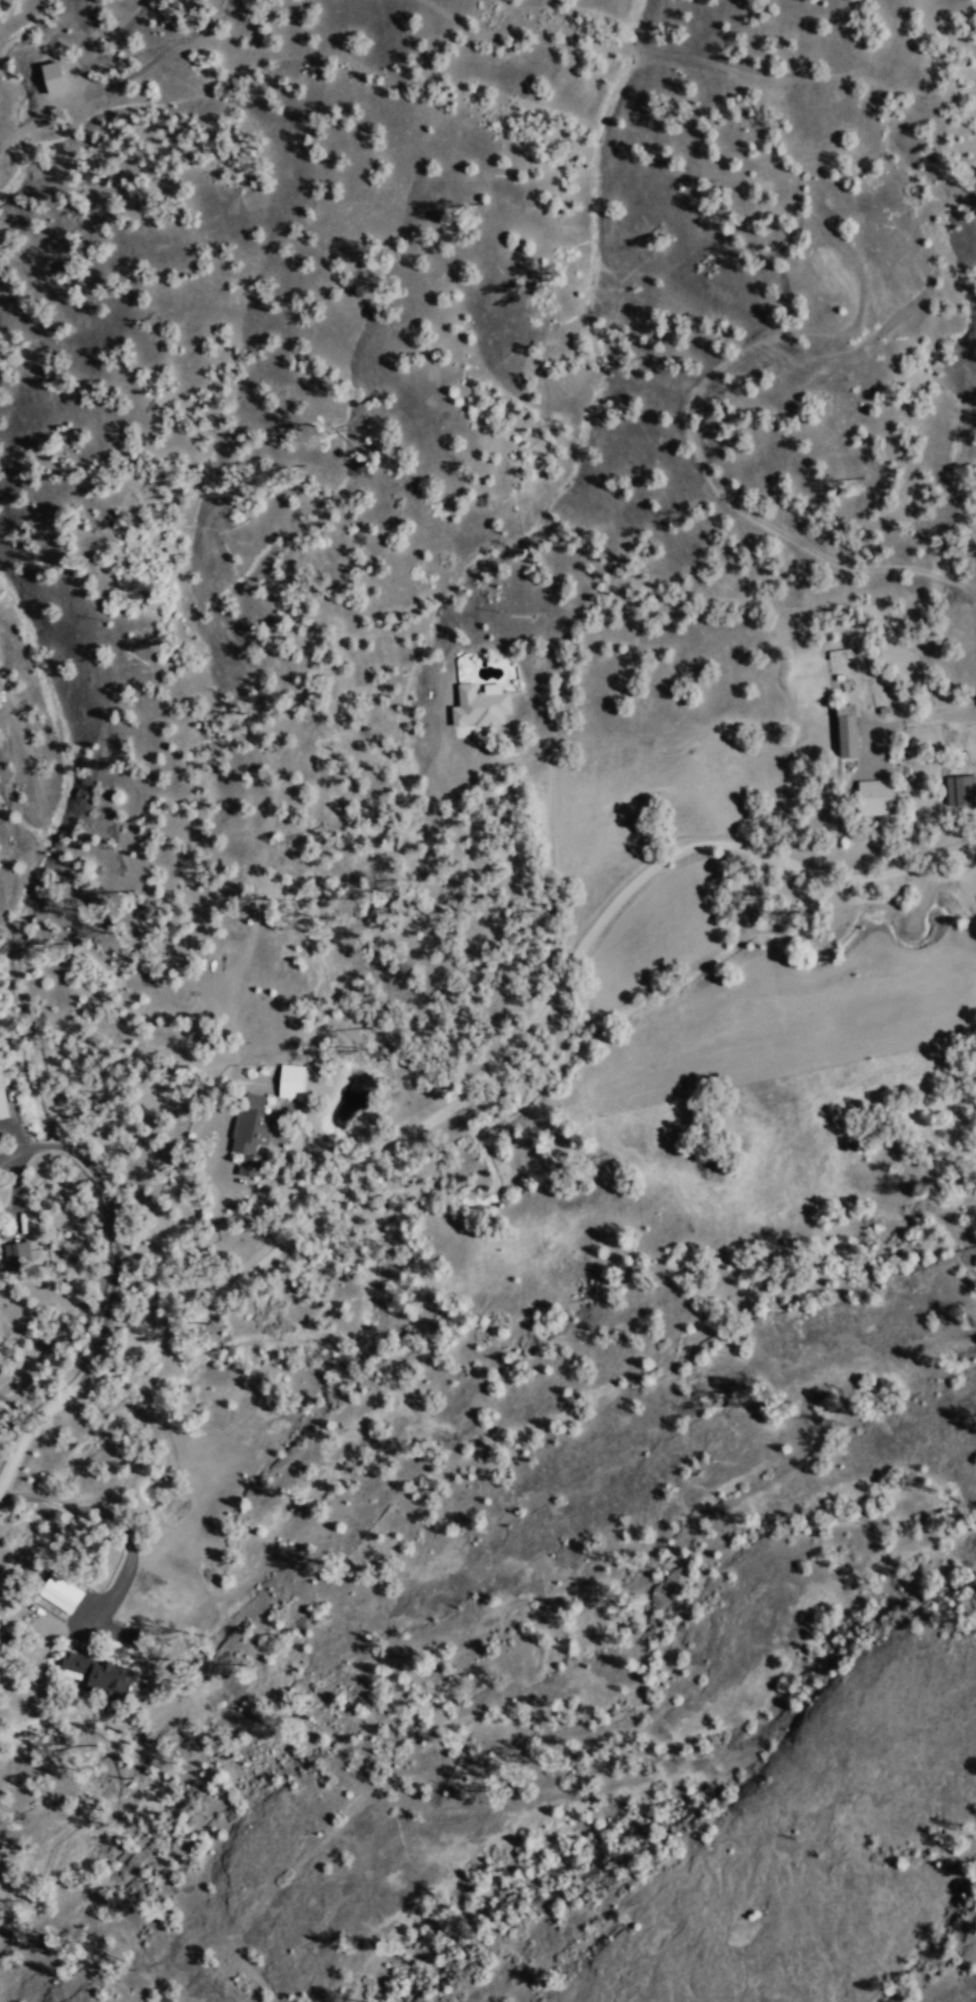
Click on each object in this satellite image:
road: (843, 37)
road: (698, 56)
road: (146, 62)
building: (58, 75)
building: (482, 704)
building: (850, 729)
building: (962, 789)
building: (881, 795)
building: (293, 1080)
building: (3, 1102)
road: (472, 1104)
building: (254, 1138)
road: (111, 1227)
building: (19, 1255)
building: (63, 1592)
building: (101, 1673)

